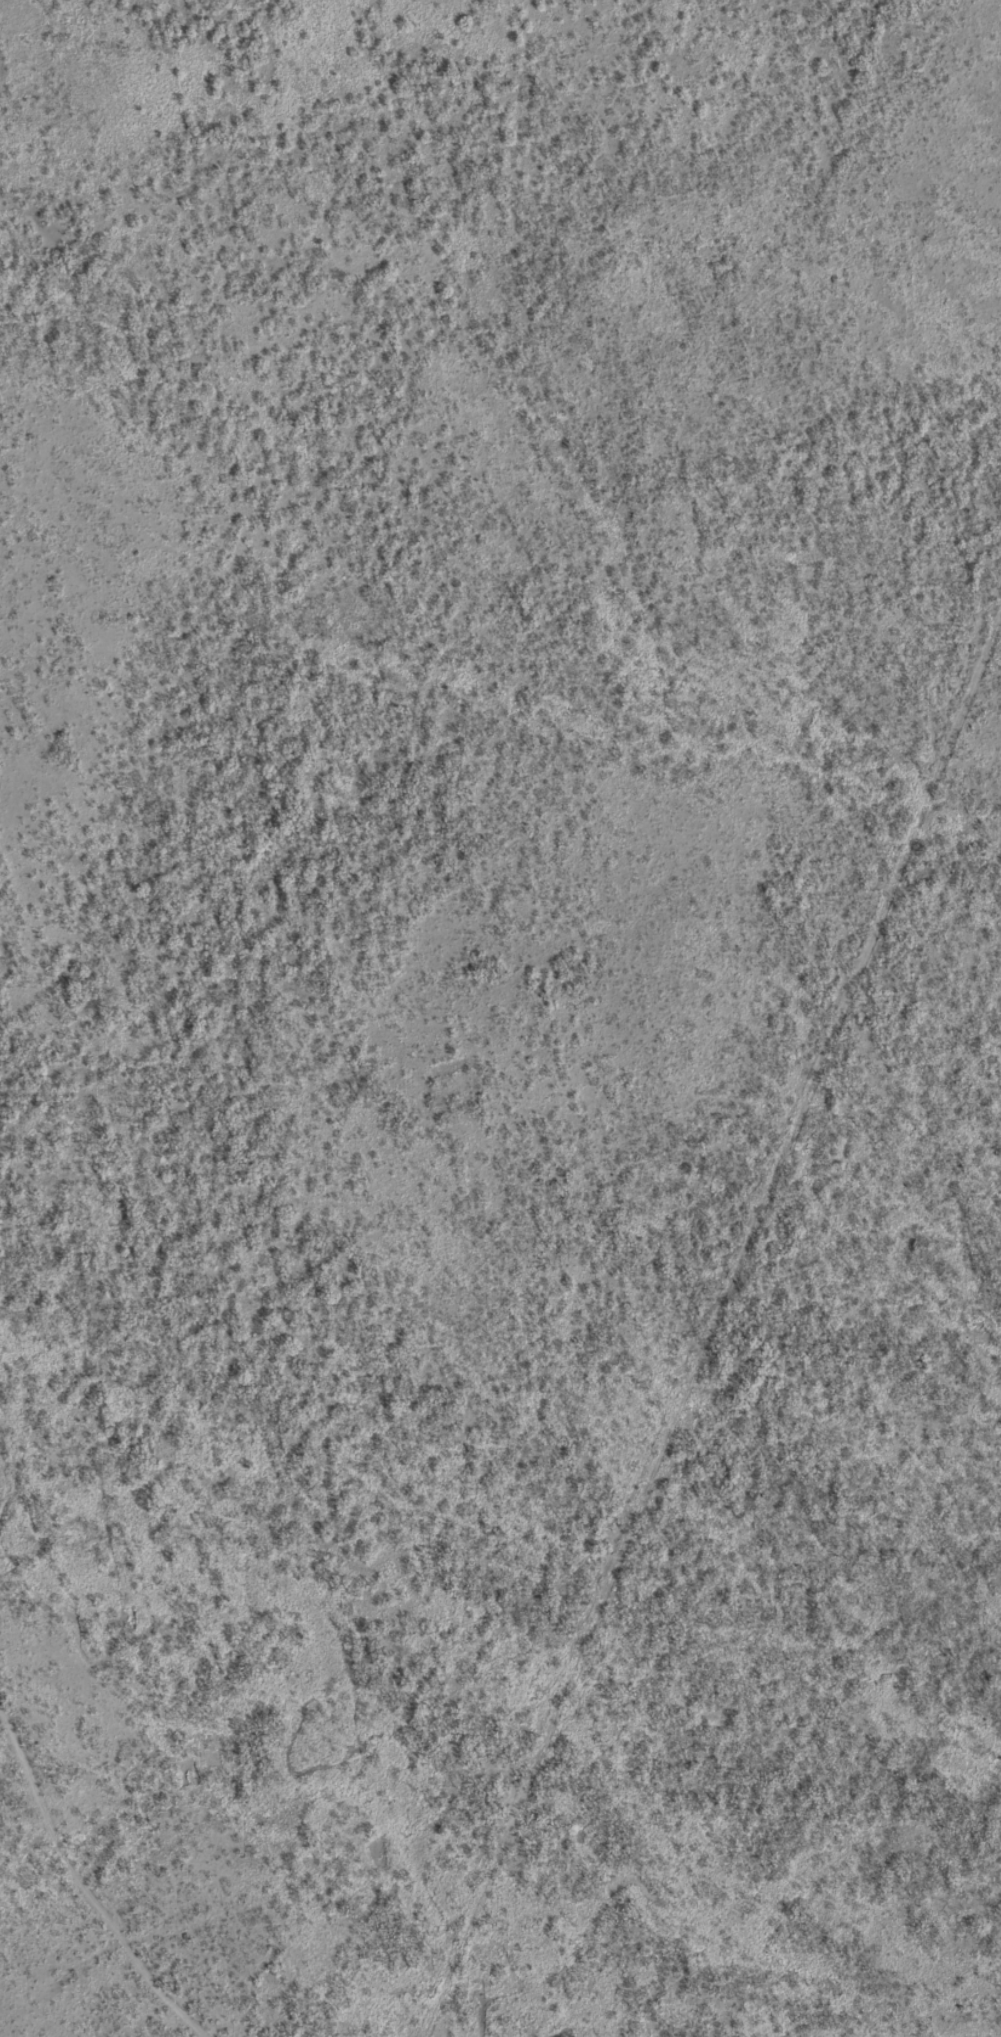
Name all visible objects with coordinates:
road: (86, 1870)

